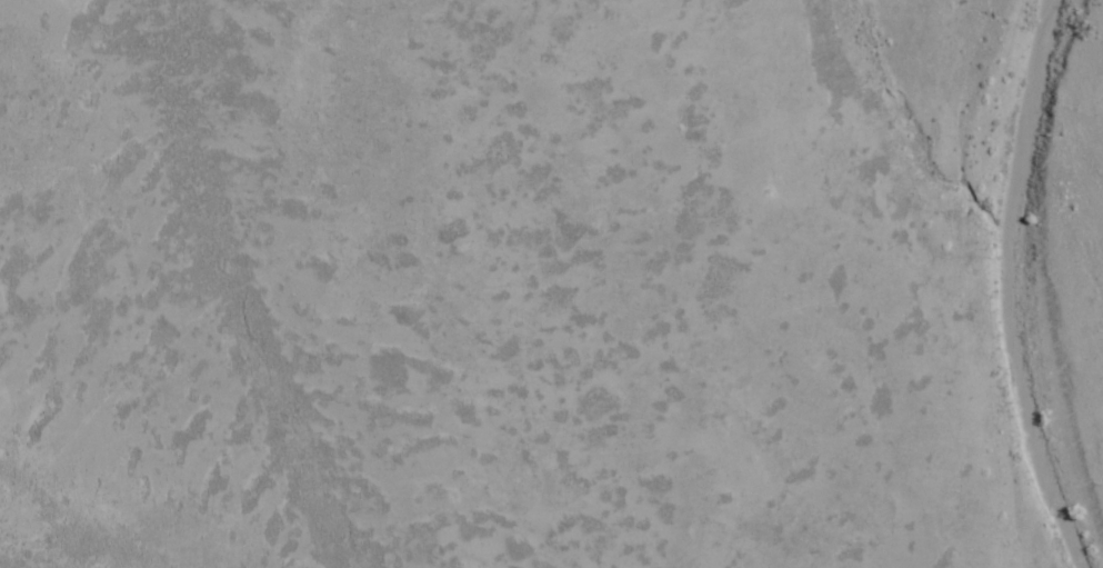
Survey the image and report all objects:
river: (1043, 287)

